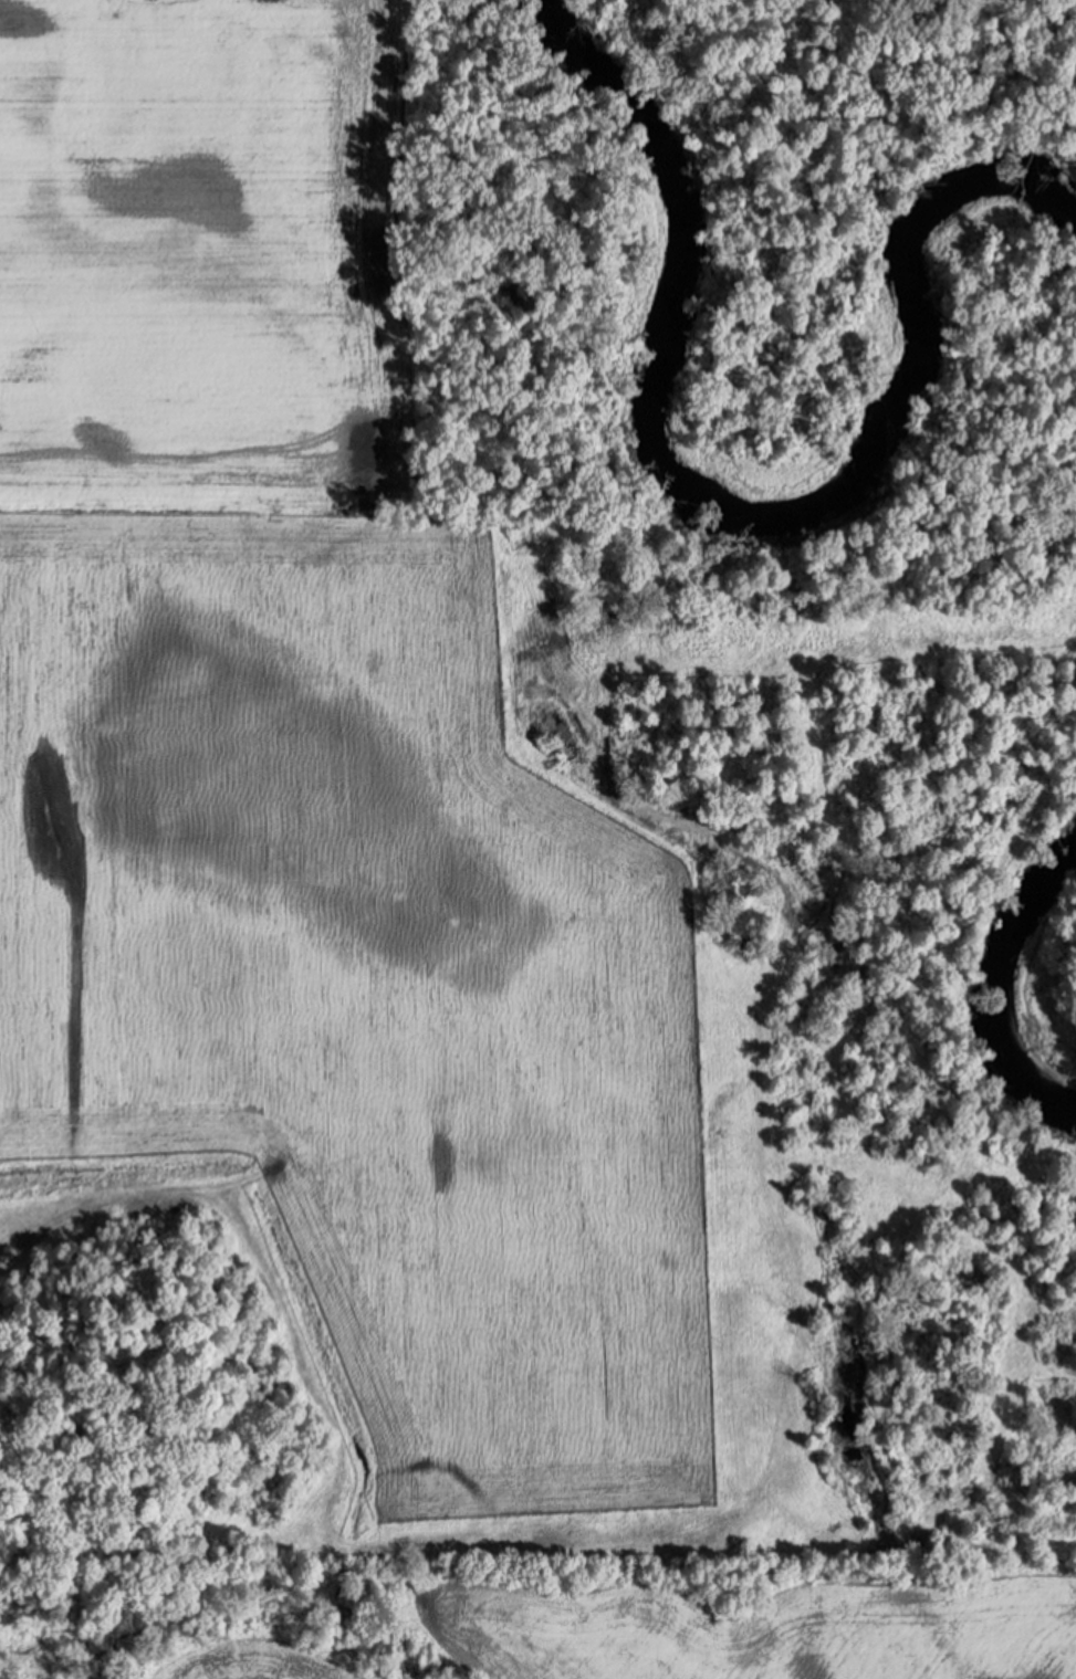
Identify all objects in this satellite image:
river: (1016, 189)
river: (677, 475)
river: (1006, 974)

